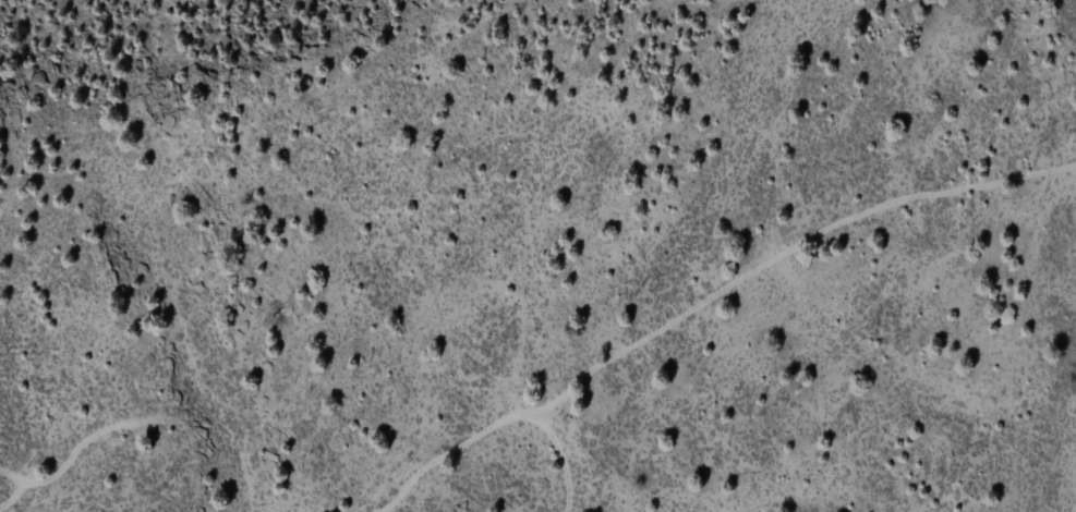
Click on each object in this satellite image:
road: (712, 301)
road: (563, 456)
road: (61, 467)
road: (7, 497)

